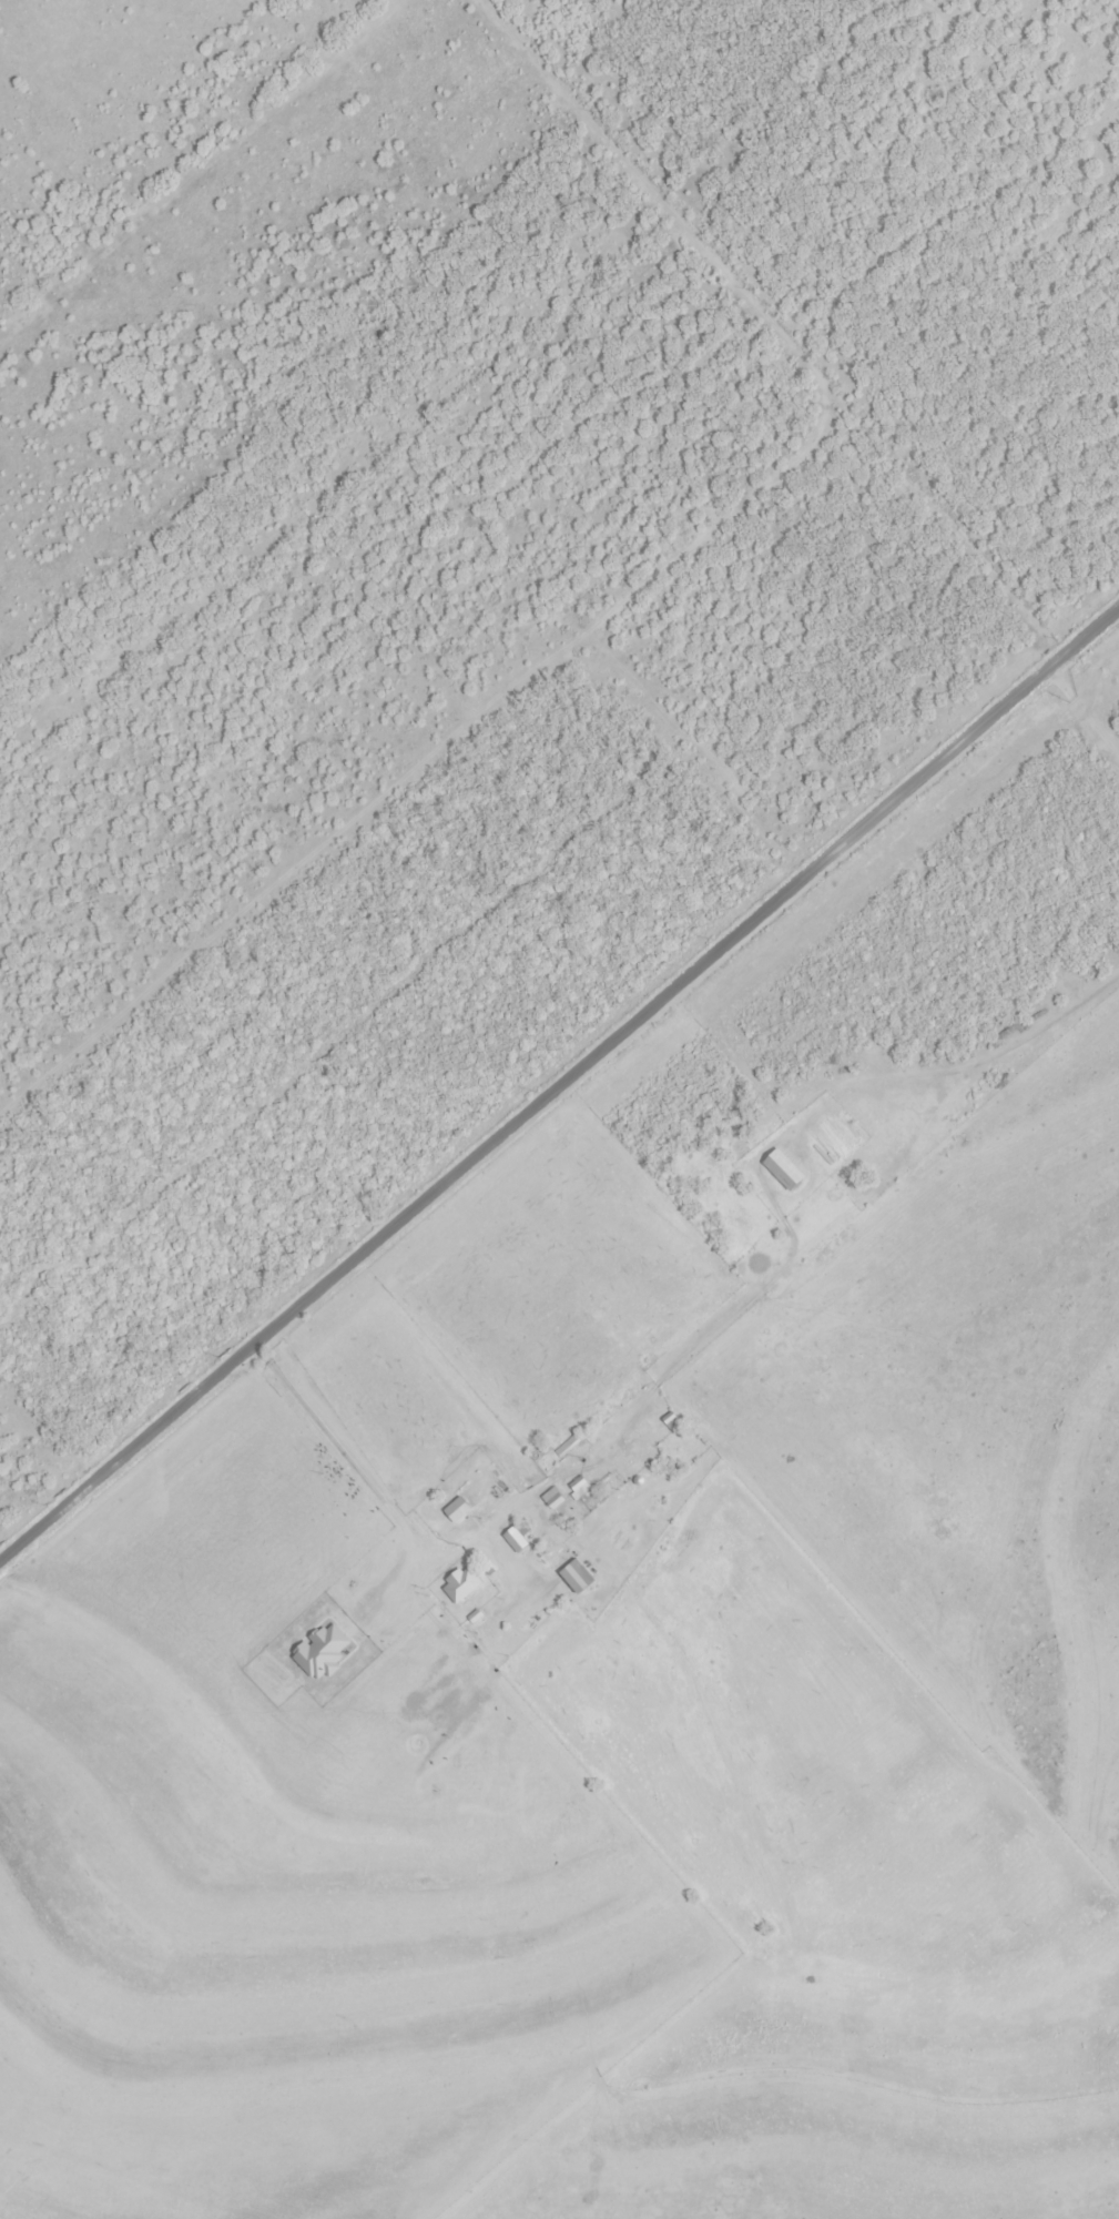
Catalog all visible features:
road: (560, 1111)
building: (784, 1172)
building: (672, 1425)
building: (579, 1490)
building: (468, 1499)
building: (517, 1543)
road: (406, 1568)
building: (577, 1579)
building: (461, 1587)

